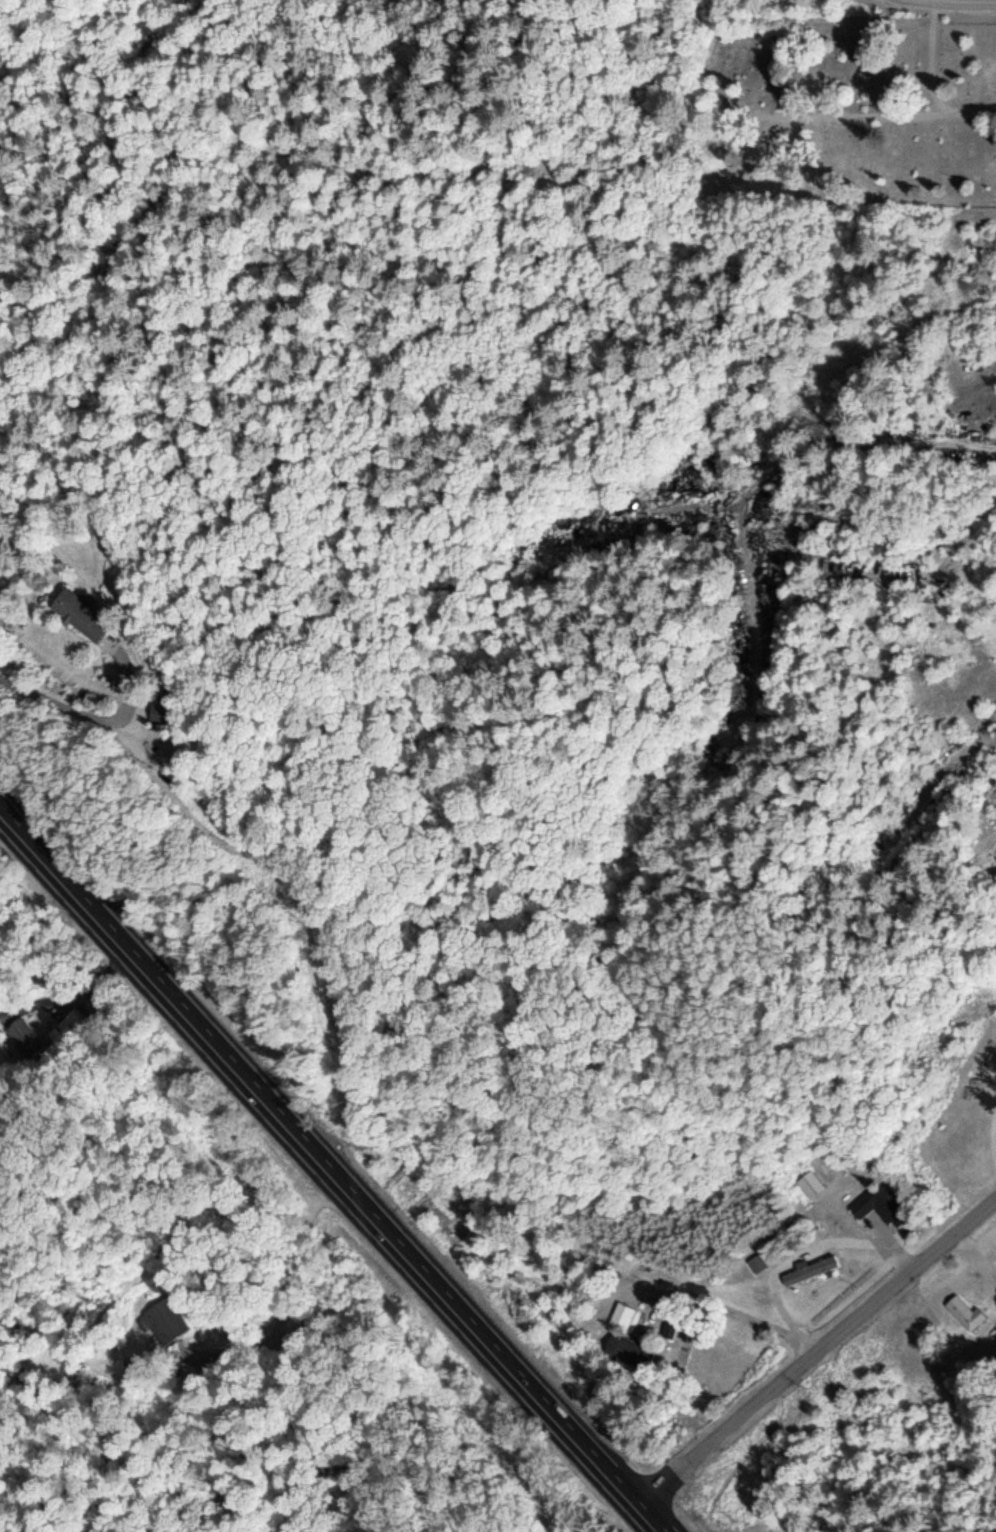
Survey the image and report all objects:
road: (945, 1)
road: (936, 57)
park: (842, 109)
road: (859, 112)
building: (995, 271)
building: (79, 612)
building: (159, 712)
building: (993, 794)
building: (68, 1020)
building: (24, 1036)
road: (327, 1178)
building: (809, 1182)
building: (877, 1197)
building: (755, 1262)
building: (808, 1268)
building: (975, 1304)
building: (963, 1310)
building: (621, 1313)
building: (161, 1319)
building: (668, 1327)
building: (627, 1350)
road: (815, 1354)

